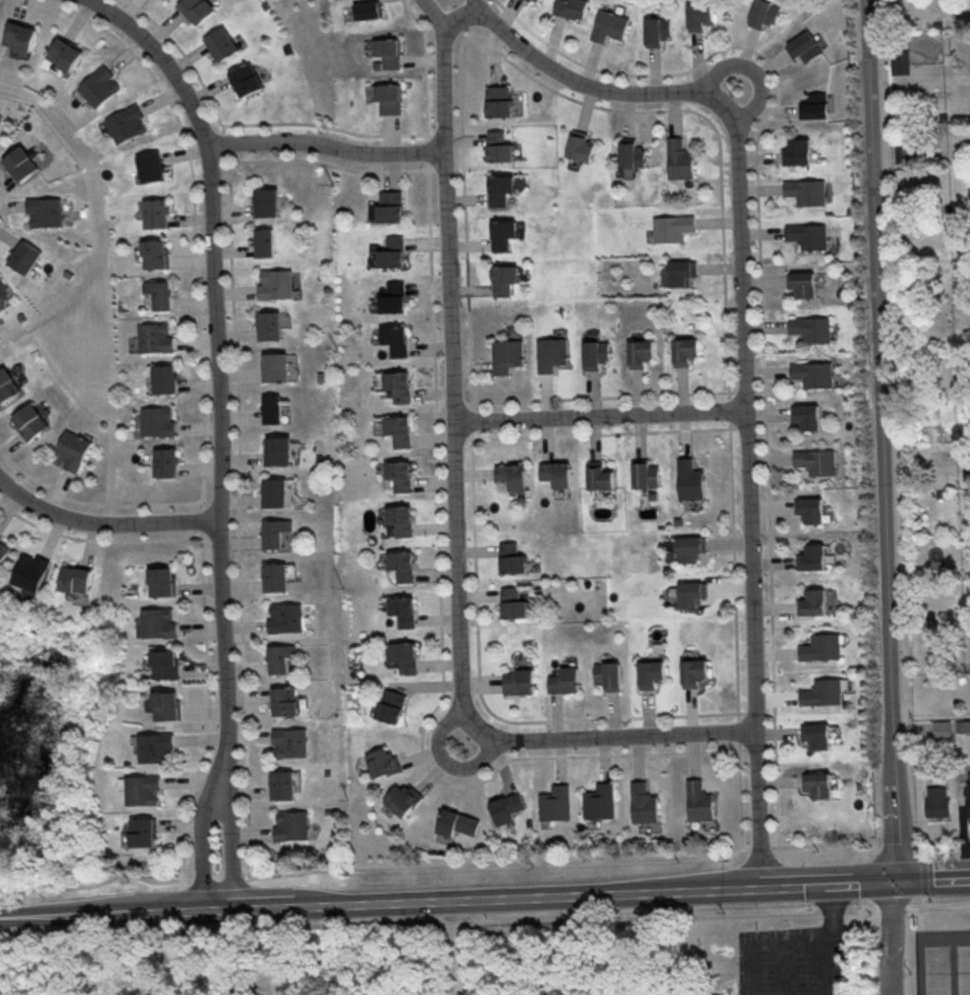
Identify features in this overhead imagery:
building: (519, 0)
building: (532, 0)
road: (473, 4)
building: (568, 8)
building: (358, 9)
building: (190, 10)
road: (432, 13)
building: (763, 13)
building: (697, 14)
building: (605, 25)
building: (649, 31)
building: (19, 35)
building: (213, 43)
building: (800, 46)
building: (379, 52)
building: (63, 54)
building: (900, 62)
road: (755, 72)
building: (237, 79)
road: (584, 82)
building: (97, 86)
building: (378, 97)
building: (494, 101)
building: (810, 108)
building: (123, 123)
road: (328, 147)
building: (495, 147)
building: (576, 148)
building: (795, 152)
building: (628, 154)
building: (676, 159)
building: (20, 163)
building: (147, 166)
building: (496, 189)
building: (804, 191)
building: (261, 202)
building: (384, 206)
building: (43, 211)
building: (151, 213)
building: (669, 227)
building: (498, 234)
building: (806, 235)
building: (260, 242)
building: (387, 252)
building: (150, 254)
building: (22, 256)
building: (676, 273)
building: (500, 279)
building: (800, 283)
building: (271, 284)
building: (154, 294)
building: (388, 298)
building: (265, 325)
building: (808, 328)
building: (149, 337)
building: (390, 339)
road: (217, 349)
building: (681, 350)
building: (636, 352)
building: (547, 353)
building: (591, 354)
building: (502, 355)
building: (269, 367)
building: (811, 373)
building: (158, 378)
building: (5, 385)
building: (392, 385)
building: (267, 409)
road: (604, 416)
building: (804, 416)
building: (151, 420)
building: (25, 421)
road: (750, 427)
building: (394, 430)
road: (882, 441)
building: (67, 450)
building: (273, 450)
building: (161, 462)
building: (553, 473)
building: (642, 474)
building: (394, 475)
building: (509, 475)
building: (596, 476)
building: (687, 480)
building: (271, 492)
building: (808, 509)
building: (397, 519)
road: (104, 521)
road: (460, 521)
building: (274, 532)
building: (3, 548)
building: (686, 548)
building: (810, 557)
building: (509, 558)
building: (399, 565)
building: (29, 574)
building: (277, 575)
building: (75, 579)
building: (162, 581)
building: (687, 593)
building: (811, 602)
building: (511, 603)
building: (401, 610)
building: (283, 617)
building: (157, 623)
building: (821, 647)
building: (407, 656)
building: (280, 659)
building: (164, 664)
building: (694, 672)
building: (650, 673)
building: (608, 674)
building: (564, 680)
building: (518, 681)
building: (823, 692)
building: (283, 700)
building: (166, 705)
building: (394, 706)
building: (942, 729)
building: (818, 735)
building: (288, 741)
building: (155, 747)
road: (450, 759)
building: (378, 762)
building: (281, 784)
building: (821, 785)
building: (142, 789)
building: (968, 792)
building: (401, 799)
building: (599, 801)
building: (699, 801)
building: (643, 802)
building: (938, 802)
building: (555, 803)
road: (764, 809)
building: (503, 810)
building: (456, 823)
building: (292, 825)
road: (206, 828)
road: (234, 830)
building: (143, 832)
road: (656, 853)
road: (485, 900)
road: (924, 901)
road: (936, 907)
road: (871, 909)
road: (826, 911)
road: (625, 918)
road: (894, 938)
road: (791, 947)
road: (456, 948)
parking lot: (796, 960)
park: (966, 969)
park: (943, 970)
road: (824, 971)
building: (719, 994)

